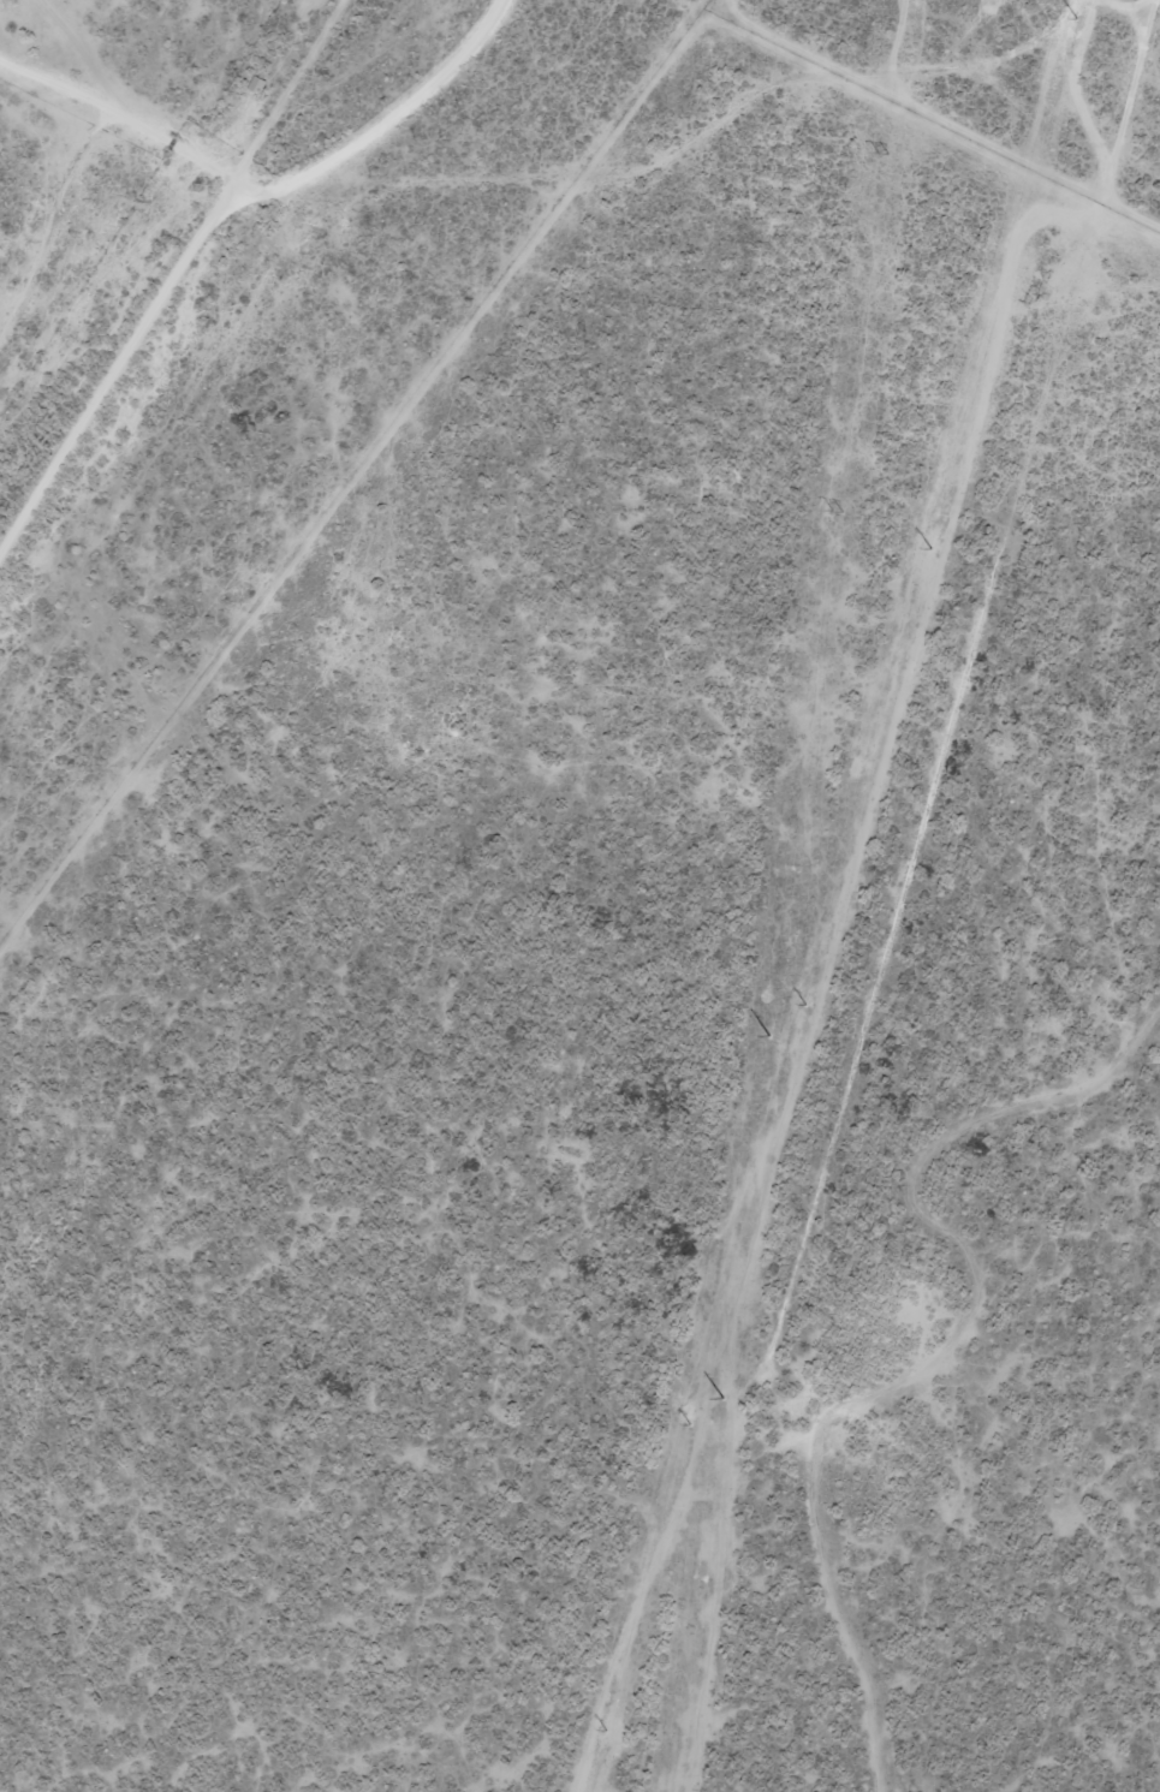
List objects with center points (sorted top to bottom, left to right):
road: (1114, 5)
power tower: (1070, 31)
road: (708, 125)
road: (1117, 130)
power tower: (879, 154)
road: (269, 189)
road: (172, 280)
railway: (194, 310)
power tower: (835, 511)
power tower: (938, 517)
power tower: (793, 865)
power tower: (804, 1005)
power tower: (743, 1222)
power tower: (700, 1578)
power tower: (614, 1699)

